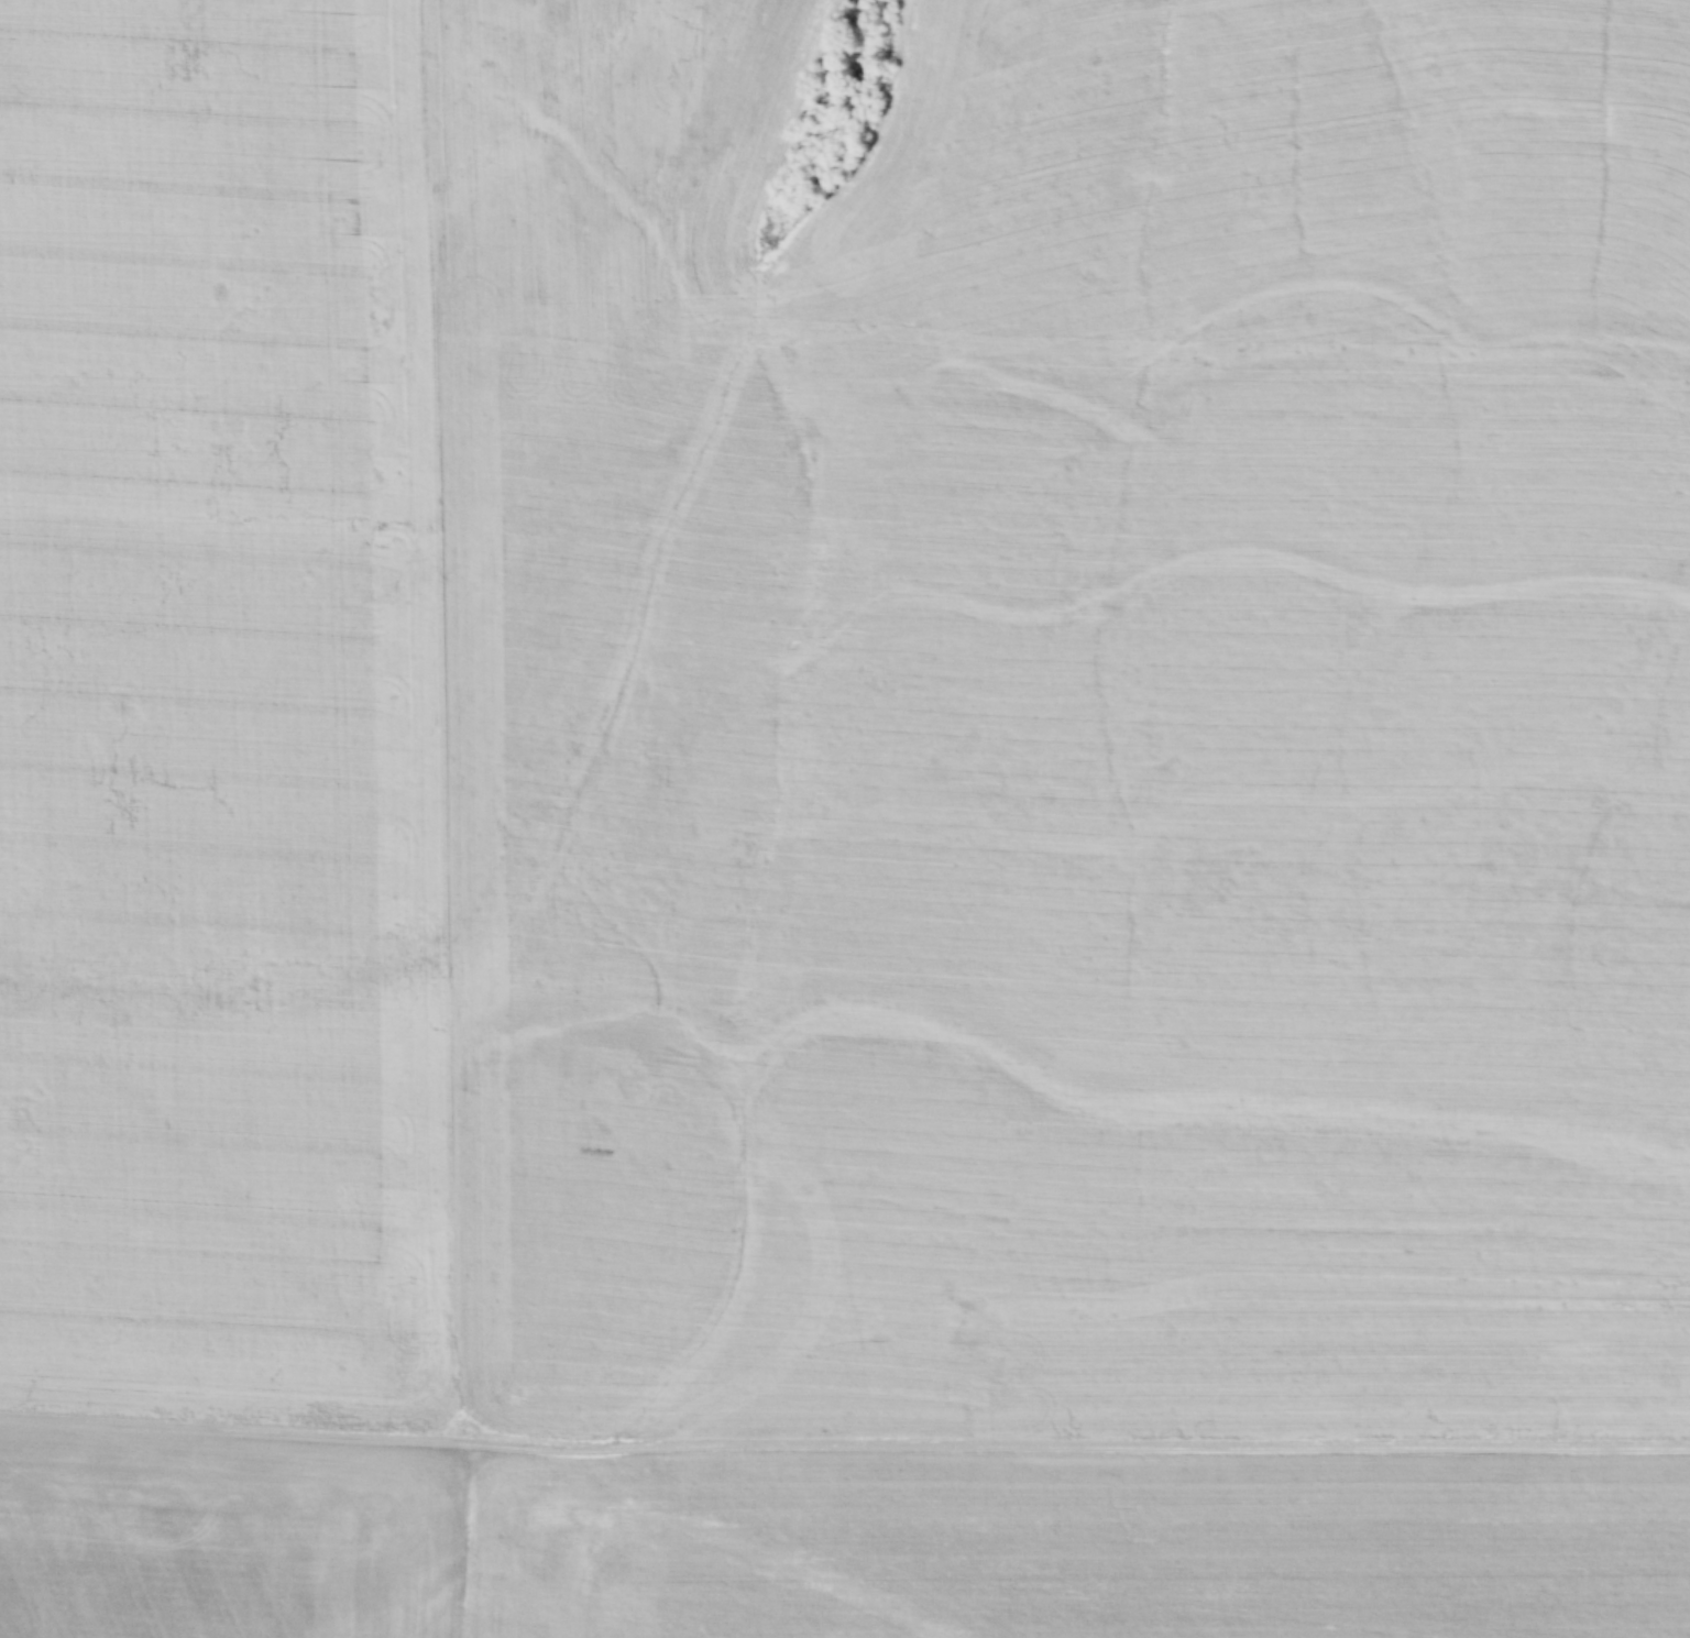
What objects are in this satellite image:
road: (844, 1429)

